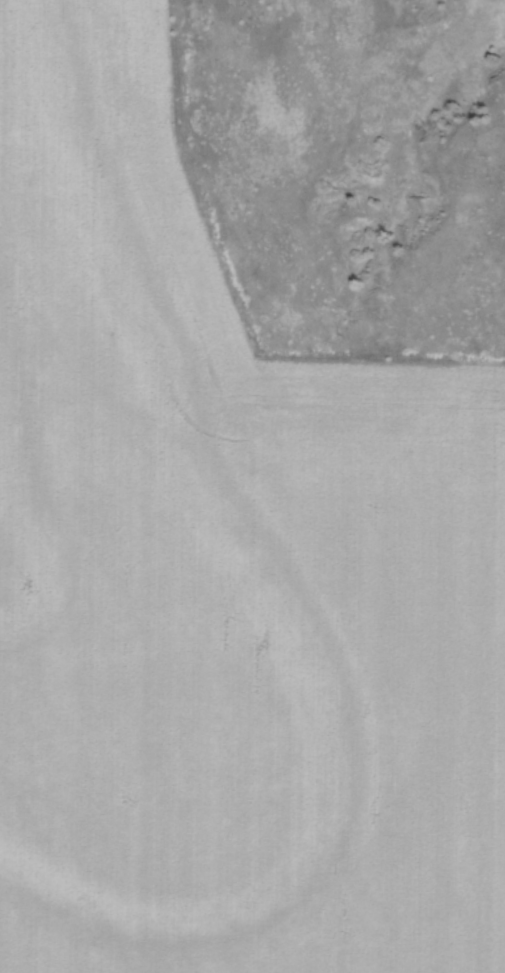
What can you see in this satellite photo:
crop: (224, 577)

